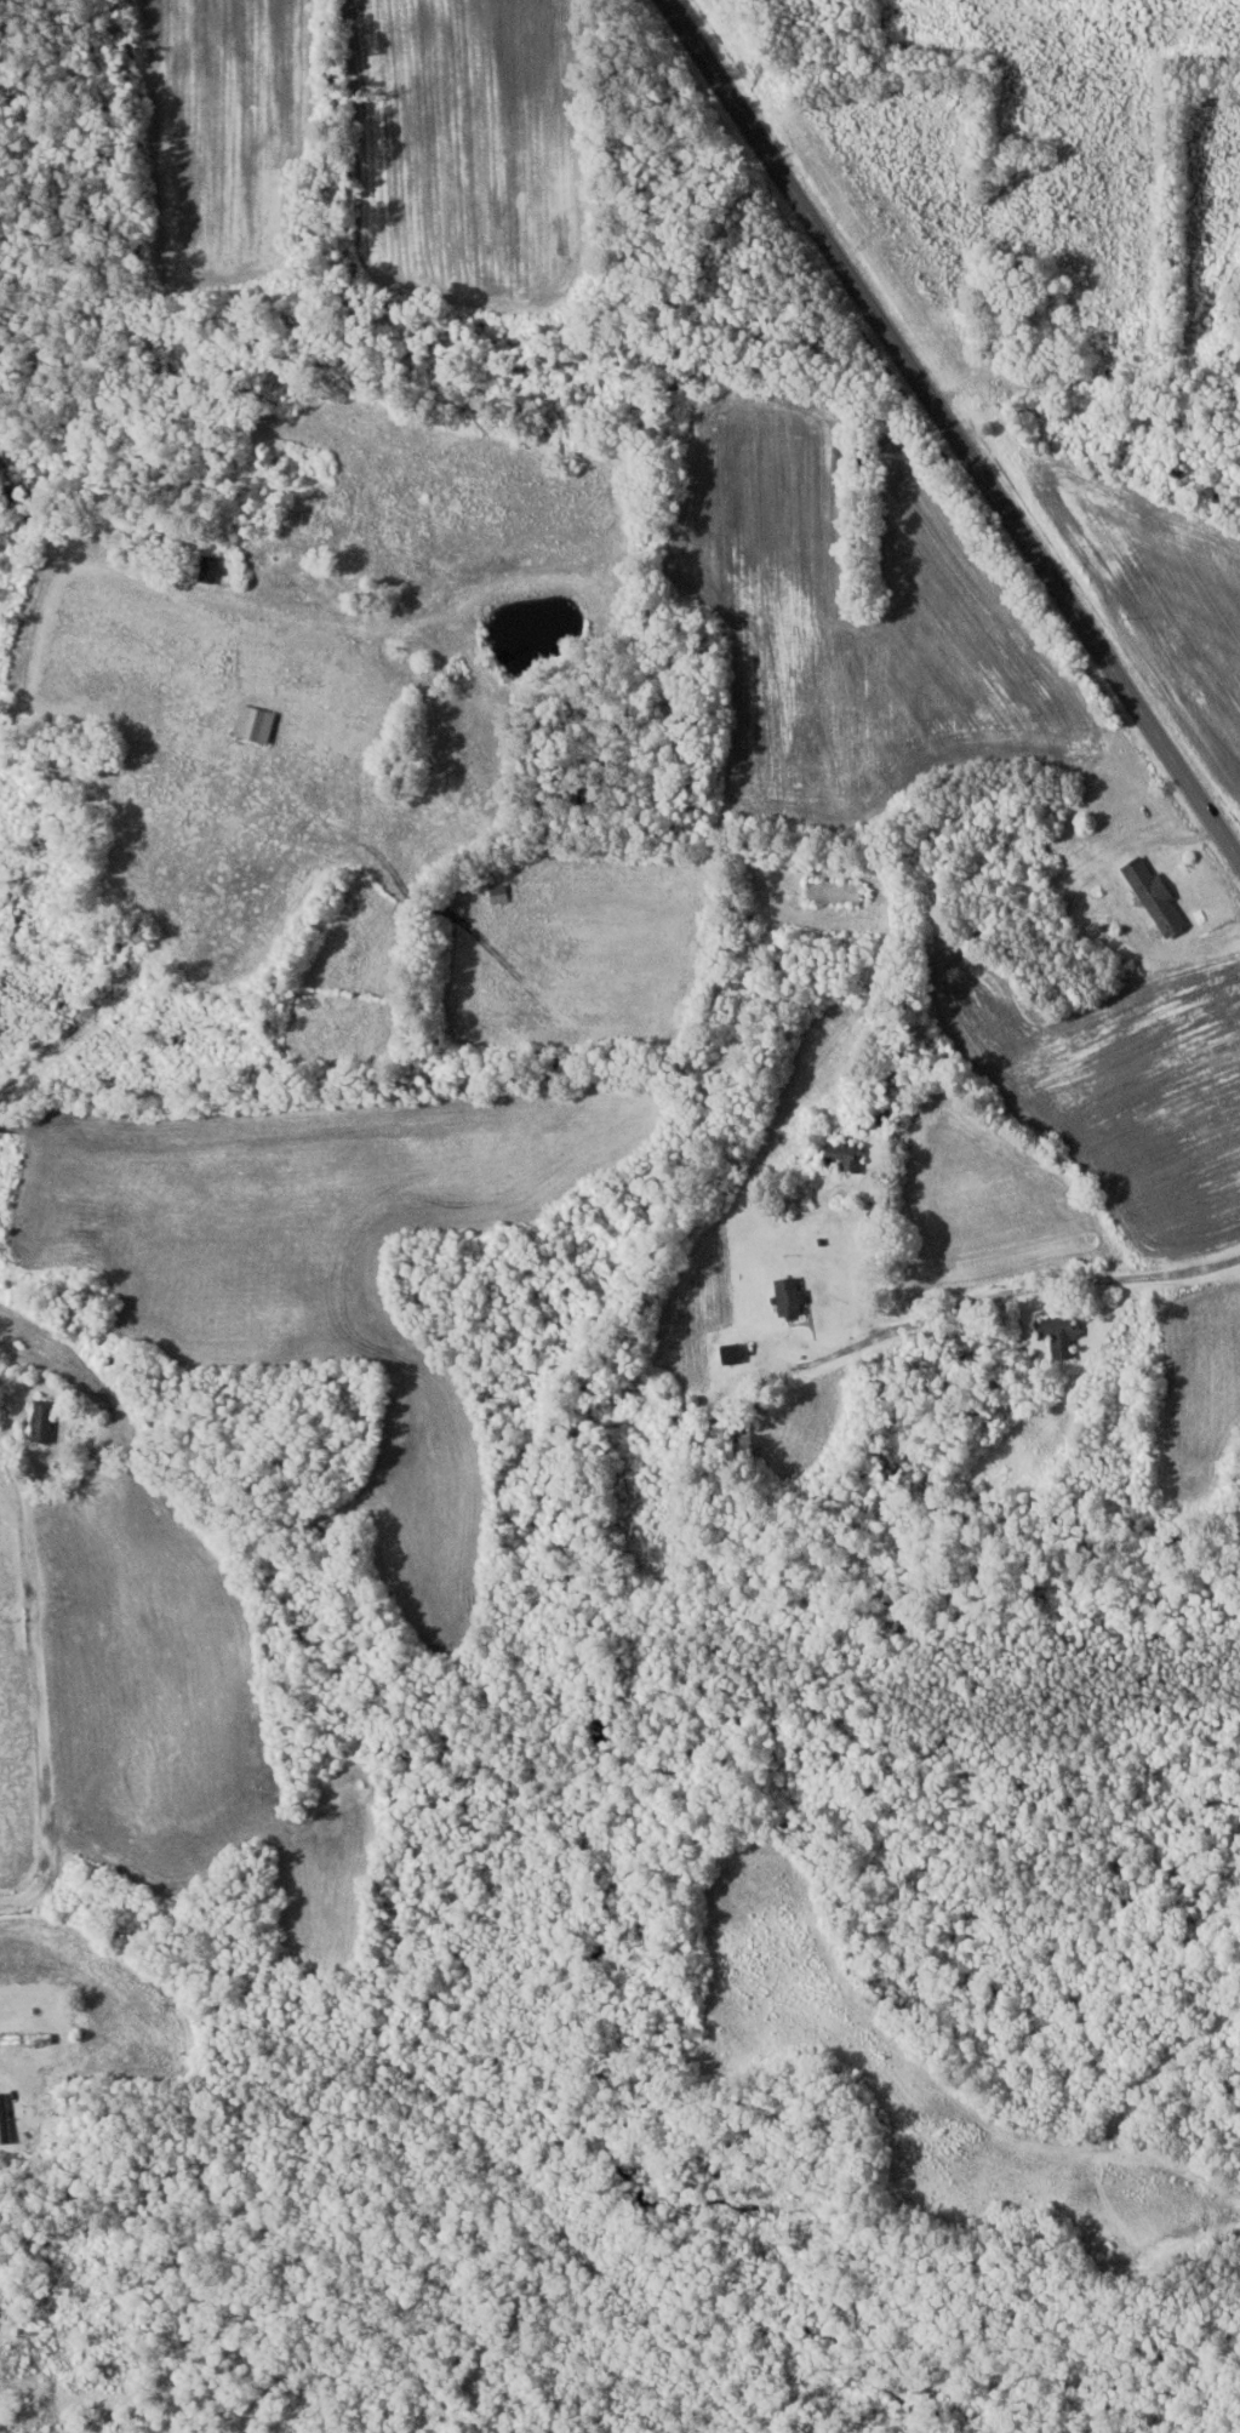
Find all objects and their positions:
road: (979, 268)
building: (1239, 365)
road: (952, 430)
building: (213, 566)
building: (1016, 884)
building: (1156, 897)
building: (875, 1119)
building: (844, 1156)
building: (775, 1233)
building: (789, 1297)
road: (913, 1318)
building: (1059, 1336)
building: (44, 1422)
road: (124, 1824)
road: (158, 1824)
building: (25, 2039)
building: (4, 2118)

